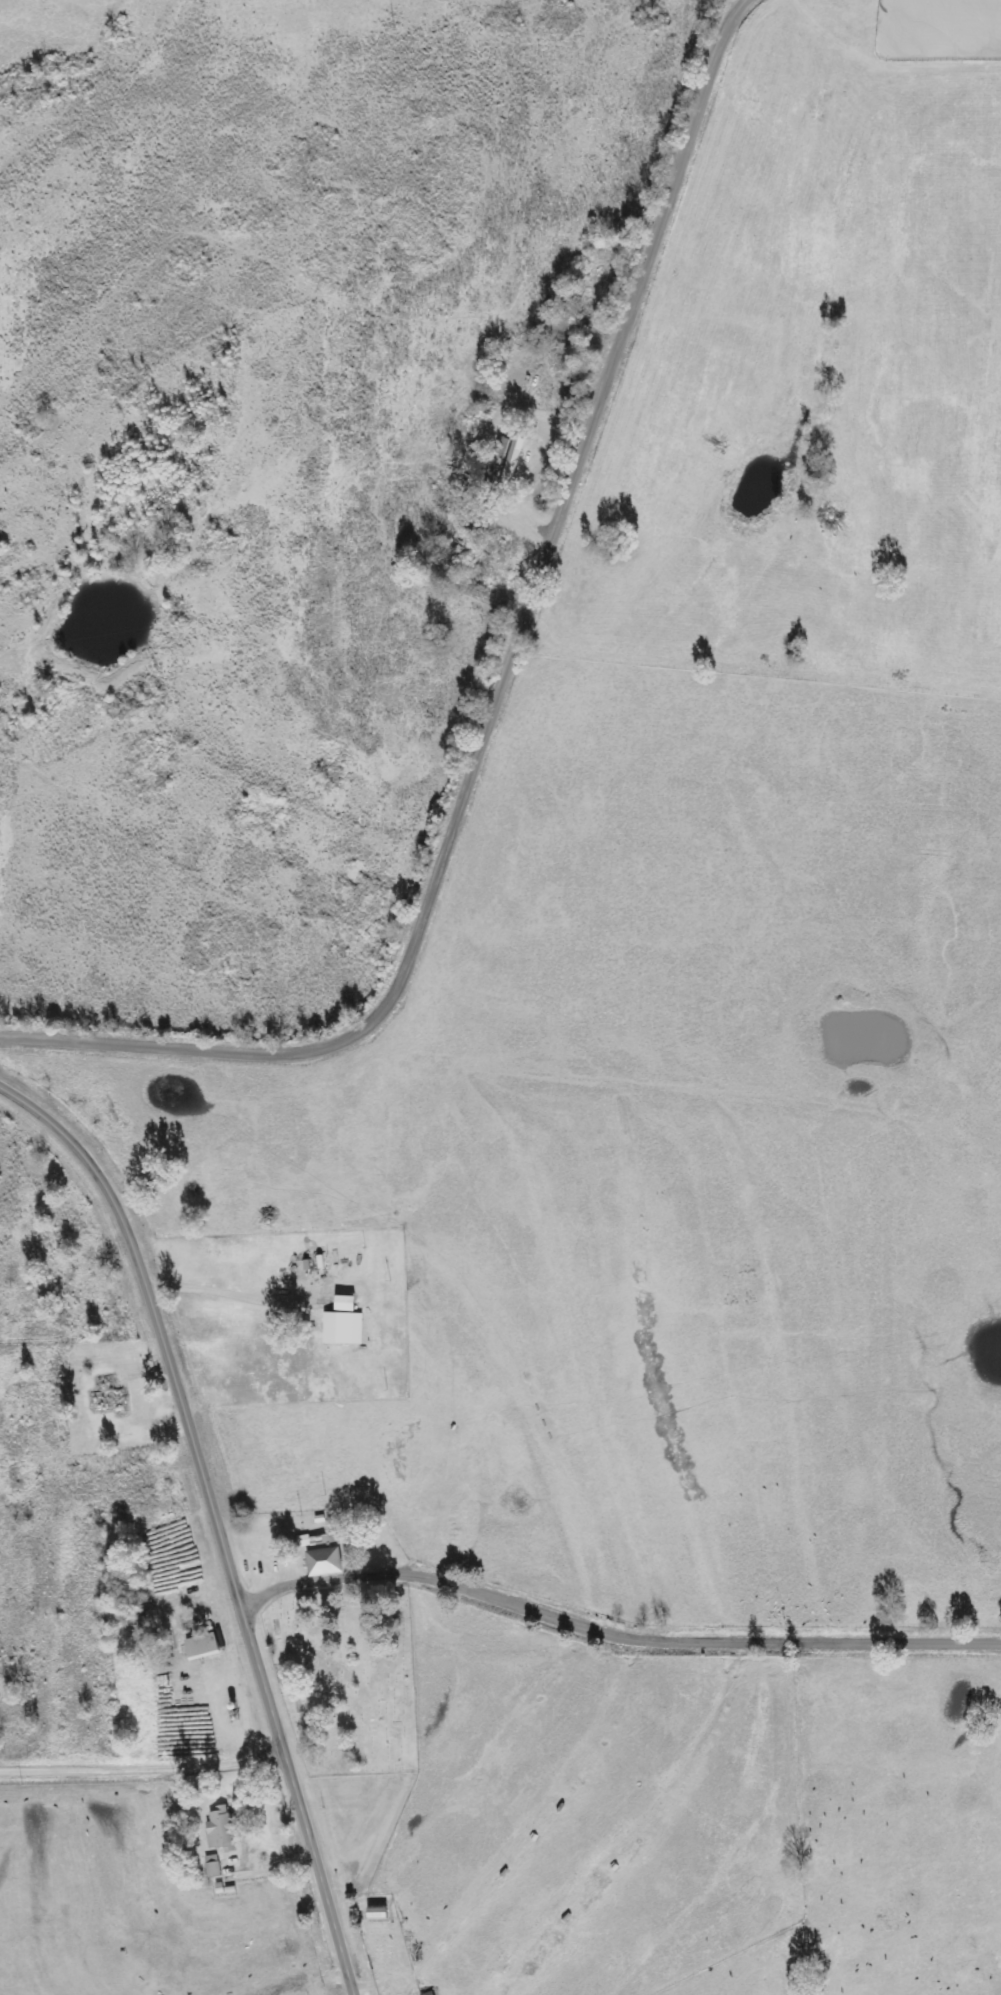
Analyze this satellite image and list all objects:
road: (505, 695)
building: (344, 1303)
building: (343, 1328)
road: (215, 1517)
building: (323, 1562)
road: (615, 1633)
building: (201, 1647)
park: (346, 1676)
road: (142, 1761)
building: (221, 1831)
building: (213, 1866)

